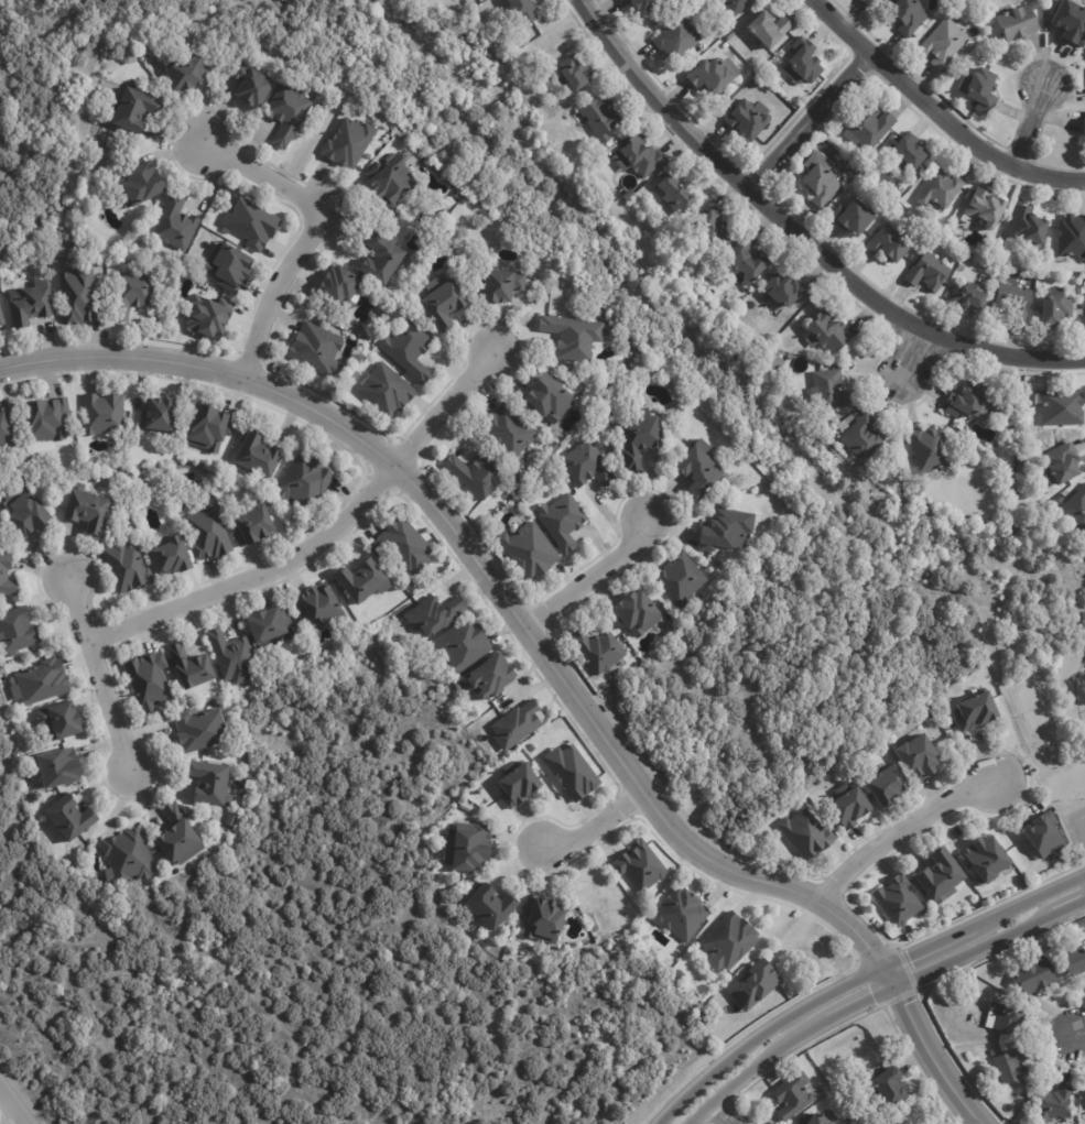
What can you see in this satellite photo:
building: (1038, 0)
building: (887, 1)
building: (868, 2)
building: (644, 4)
building: (736, 7)
building: (524, 9)
building: (911, 15)
building: (1072, 21)
building: (1020, 22)
building: (771, 29)
building: (731, 35)
building: (680, 37)
building: (945, 44)
building: (727, 45)
building: (806, 59)
building: (575, 72)
building: (187, 73)
building: (712, 76)
building: (758, 83)
building: (253, 85)
building: (984, 90)
building: (134, 110)
road: (942, 112)
building: (287, 114)
building: (603, 117)
road: (812, 118)
road: (1033, 118)
building: (751, 119)
building: (1083, 122)
building: (870, 130)
building: (349, 143)
building: (910, 153)
building: (643, 156)
building: (854, 170)
road: (260, 176)
building: (391, 181)
building: (823, 182)
building: (141, 184)
building: (942, 188)
building: (677, 194)
building: (984, 208)
building: (854, 218)
building: (250, 223)
building: (176, 225)
building: (714, 225)
building: (1030, 228)
road: (804, 230)
building: (1072, 236)
building: (890, 244)
building: (1003, 245)
building: (382, 260)
building: (751, 262)
building: (229, 266)
building: (930, 271)
building: (503, 286)
building: (341, 287)
road: (275, 290)
building: (788, 291)
building: (134, 294)
building: (78, 296)
building: (969, 297)
building: (1016, 298)
building: (444, 302)
building: (31, 304)
building: (1056, 307)
building: (208, 316)
building: (1, 318)
building: (828, 332)
building: (574, 337)
building: (801, 348)
building: (317, 349)
building: (409, 350)
building: (792, 356)
building: (775, 361)
road: (912, 364)
building: (833, 391)
building: (388, 392)
building: (547, 400)
building: (968, 402)
building: (1062, 408)
building: (102, 414)
building: (160, 416)
building: (47, 418)
building: (844, 426)
building: (1017, 426)
building: (210, 429)
building: (6, 432)
building: (510, 433)
building: (865, 437)
building: (640, 441)
building: (931, 450)
building: (258, 457)
building: (1063, 462)
building: (1023, 465)
building: (588, 466)
building: (699, 469)
building: (478, 474)
building: (128, 477)
building: (516, 480)
building: (304, 481)
building: (1073, 508)
building: (23, 512)
building: (88, 512)
building: (564, 522)
building: (254, 527)
building: (727, 531)
building: (209, 535)
road: (326, 539)
building: (404, 546)
building: (531, 552)
building: (172, 558)
building: (128, 568)
road: (597, 575)
building: (7, 578)
building: (681, 580)
building: (362, 582)
building: (411, 586)
building: (318, 609)
building: (637, 613)
building: (435, 616)
building: (269, 625)
building: (17, 631)
road: (809, 639)
building: (464, 645)
road: (544, 650)
building: (599, 651)
building: (232, 657)
building: (191, 668)
road: (102, 677)
building: (490, 678)
building: (149, 681)
building: (41, 683)
road: (1077, 691)
park: (1050, 694)
park: (1033, 706)
building: (978, 712)
building: (58, 722)
building: (518, 725)
building: (199, 730)
building: (532, 747)
building: (919, 759)
building: (58, 768)
building: (572, 773)
park: (1071, 778)
building: (211, 784)
building: (519, 785)
building: (889, 789)
building: (851, 811)
parking lot: (1079, 818)
building: (69, 820)
road: (904, 827)
road: (595, 833)
building: (1044, 833)
building: (807, 836)
building: (177, 837)
building: (473, 849)
building: (128, 856)
building: (985, 860)
building: (641, 867)
building: (940, 875)
building: (898, 902)
building: (491, 909)
building: (589, 916)
building: (680, 917)
building: (546, 918)
road: (981, 923)
building: (1084, 941)
building: (728, 943)
park: (317, 946)
road: (989, 948)
building: (1075, 961)
building: (1039, 976)
building: (752, 984)
building: (1007, 1016)
road: (1078, 1032)
road: (760, 1036)
road: (784, 1049)
road: (191, 1056)
building: (1012, 1066)
building: (890, 1083)
building: (793, 1094)
building: (1056, 1103)
road: (718, 1114)
building: (1016, 1114)
road: (4, 1117)
building: (821, 1118)
building: (907, 1122)

